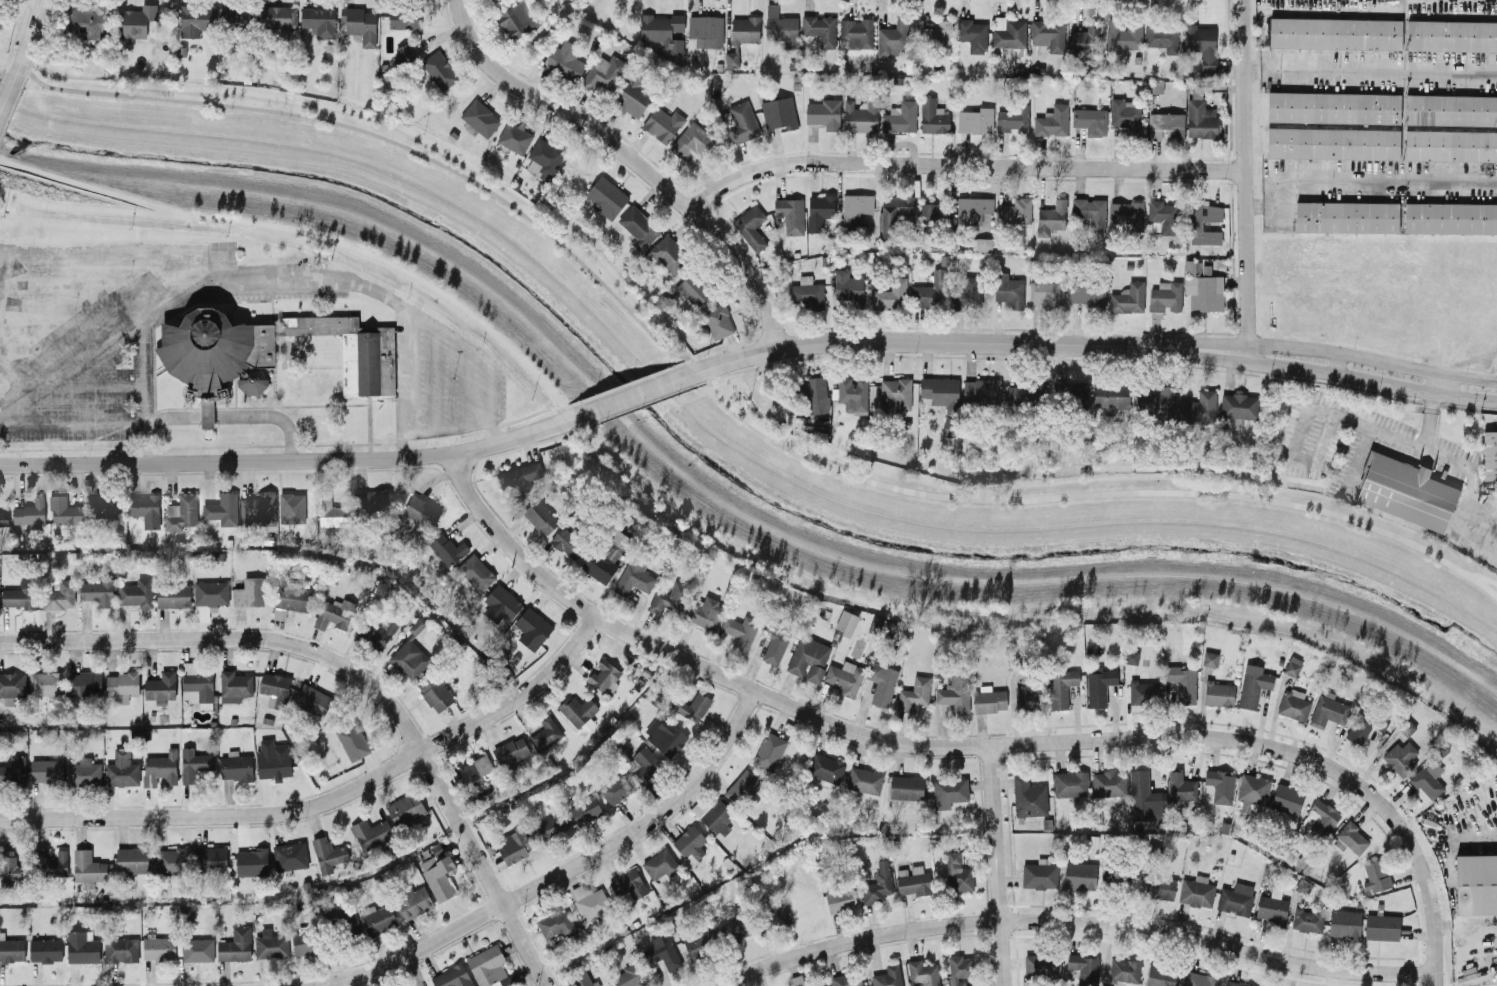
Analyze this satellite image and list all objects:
building: (280, 16)
building: (88, 19)
building: (194, 19)
building: (405, 19)
building: (319, 20)
building: (512, 22)
building: (136, 23)
building: (359, 24)
building: (781, 27)
building: (745, 29)
building: (820, 29)
building: (706, 30)
building: (663, 31)
building: (934, 33)
building: (1335, 33)
building: (972, 34)
building: (1048, 34)
building: (1123, 34)
building: (857, 35)
building: (1451, 35)
building: (1162, 36)
building: (893, 39)
building: (1082, 43)
building: (1202, 44)
road: (24, 45)
building: (731, 59)
building: (566, 61)
building: (439, 69)
building: (604, 71)
road: (1370, 71)
building: (633, 95)
road: (3, 98)
building: (1333, 107)
building: (1451, 110)
building: (779, 113)
building: (824, 113)
building: (1124, 113)
building: (860, 116)
building: (933, 116)
building: (480, 117)
building: (901, 117)
building: (1013, 117)
building: (1201, 119)
building: (976, 120)
building: (1090, 120)
building: (1052, 121)
building: (741, 122)
building: (663, 124)
building: (1165, 124)
building: (514, 137)
building: (691, 140)
building: (1333, 143)
building: (1450, 145)
building: (544, 158)
road: (630, 159)
road: (960, 165)
road: (1244, 180)
road: (1358, 183)
road: (87, 187)
building: (606, 196)
building: (779, 207)
building: (855, 209)
building: (975, 210)
building: (819, 211)
building: (1015, 211)
building: (1090, 211)
building: (893, 213)
building: (929, 213)
building: (1126, 213)
building: (1161, 214)
building: (793, 216)
building: (1346, 216)
building: (1049, 217)
building: (1450, 218)
building: (1195, 225)
building: (638, 227)
building: (751, 227)
road: (316, 233)
building: (980, 244)
road: (131, 247)
road: (1, 252)
building: (665, 255)
road: (280, 280)
building: (849, 287)
building: (1203, 288)
building: (693, 289)
building: (1009, 290)
building: (931, 291)
building: (1047, 292)
building: (806, 293)
building: (966, 294)
building: (890, 295)
building: (1088, 295)
building: (1128, 298)
building: (1164, 298)
building: (663, 302)
road: (69, 318)
building: (716, 321)
road: (122, 334)
road: (925, 340)
road: (1210, 344)
building: (269, 350)
road: (139, 356)
road: (482, 356)
road: (1209, 356)
road: (1372, 359)
road: (434, 380)
road: (1372, 380)
road: (1435, 382)
road: (41, 383)
road: (91, 385)
road: (467, 387)
building: (981, 391)
building: (941, 392)
building: (1071, 392)
building: (1025, 393)
building: (895, 394)
building: (814, 395)
building: (853, 395)
building: (1110, 395)
road: (631, 397)
building: (1157, 401)
road: (724, 402)
building: (1198, 407)
building: (1238, 407)
road: (1326, 410)
road: (217, 415)
road: (1428, 420)
road: (70, 423)
building: (949, 426)
road: (445, 430)
building: (1489, 454)
road: (293, 460)
road: (1353, 462)
building: (520, 476)
road: (1470, 485)
building: (1405, 491)
building: (375, 498)
building: (104, 506)
building: (257, 507)
building: (291, 507)
building: (222, 508)
building: (143, 509)
building: (64, 510)
building: (182, 511)
building: (421, 511)
building: (29, 512)
building: (333, 512)
road: (1482, 512)
building: (540, 516)
building: (3, 517)
road: (1468, 538)
building: (567, 542)
building: (446, 548)
building: (607, 554)
building: (475, 572)
building: (633, 576)
road: (1486, 579)
building: (20, 592)
building: (96, 592)
building: (136, 592)
building: (211, 592)
building: (249, 592)
building: (58, 595)
building: (173, 595)
building: (291, 597)
building: (665, 597)
building: (502, 602)
building: (704, 612)
building: (334, 613)
building: (845, 622)
building: (531, 628)
building: (740, 631)
building: (379, 632)
road: (232, 636)
building: (774, 647)
building: (410, 653)
building: (1130, 656)
building: (1209, 657)
building: (808, 658)
building: (1292, 666)
building: (603, 676)
building: (844, 677)
building: (44, 682)
building: (881, 682)
building: (84, 683)
building: (1182, 683)
building: (12, 684)
building: (235, 684)
building: (1098, 684)
building: (1253, 684)
building: (121, 685)
building: (160, 686)
building: (1061, 686)
building: (274, 688)
building: (1144, 691)
building: (434, 692)
building: (954, 692)
building: (913, 693)
building: (1218, 693)
building: (1027, 696)
building: (312, 699)
building: (988, 699)
building: (1293, 704)
building: (692, 706)
building: (1327, 709)
building: (578, 712)
building: (1365, 726)
building: (1406, 727)
building: (545, 732)
building: (664, 734)
building: (352, 740)
road: (882, 740)
building: (510, 750)
building: (768, 750)
building: (1400, 757)
building: (272, 759)
building: (193, 763)
building: (644, 763)
building: (236, 766)
building: (160, 767)
building: (825, 767)
building: (12, 768)
building: (121, 768)
building: (45, 770)
building: (475, 770)
building: (83, 772)
building: (1428, 779)
building: (864, 780)
building: (1070, 783)
building: (1108, 783)
building: (1181, 785)
building: (1218, 785)
building: (614, 787)
building: (742, 787)
building: (905, 787)
building: (1252, 790)
building: (948, 791)
building: (1028, 797)
building: (1143, 797)
building: (1287, 798)
road: (326, 799)
building: (405, 807)
building: (584, 809)
building: (717, 816)
building: (1322, 817)
building: (550, 825)
building: (371, 832)
building: (1352, 837)
building: (689, 843)
building: (513, 846)
building: (437, 851)
building: (327, 853)
building: (289, 855)
building: (211, 858)
building: (131, 859)
building: (169, 860)
building: (251, 861)
building: (50, 862)
building: (659, 863)
building: (8, 865)
road: (993, 865)
building: (87, 866)
road: (484, 867)
road: (562, 872)
building: (957, 872)
building: (1039, 874)
building: (437, 875)
building: (1079, 875)
building: (1374, 875)
building: (912, 880)
building: (629, 883)
building: (1476, 883)
building: (877, 884)
building: (1159, 887)
building: (1196, 891)
road: (1431, 897)
building: (840, 898)
building: (1235, 898)
building: (412, 901)
building: (589, 903)
building: (1271, 905)
building: (778, 915)
building: (377, 917)
building: (1307, 918)
road: (1072, 919)
building: (341, 921)
building: (556, 923)
building: (1344, 923)
building: (1381, 927)
building: (736, 928)
building: (303, 941)
building: (699, 943)
building: (235, 944)
building: (270, 944)
building: (81, 946)
building: (158, 947)
building: (197, 948)
building: (11, 949)
building: (45, 949)
building: (120, 949)
building: (662, 952)
building: (1041, 966)
building: (488, 967)
building: (1084, 967)
building: (958, 969)
building: (1123, 971)
building: (922, 972)
building: (452, 976)
building: (628, 976)
building: (887, 976)
building: (1162, 976)
building: (581, 979)
building: (846, 979)
building: (1198, 979)
building: (797, 980)
building: (819, 984)
building: (1236, 984)

